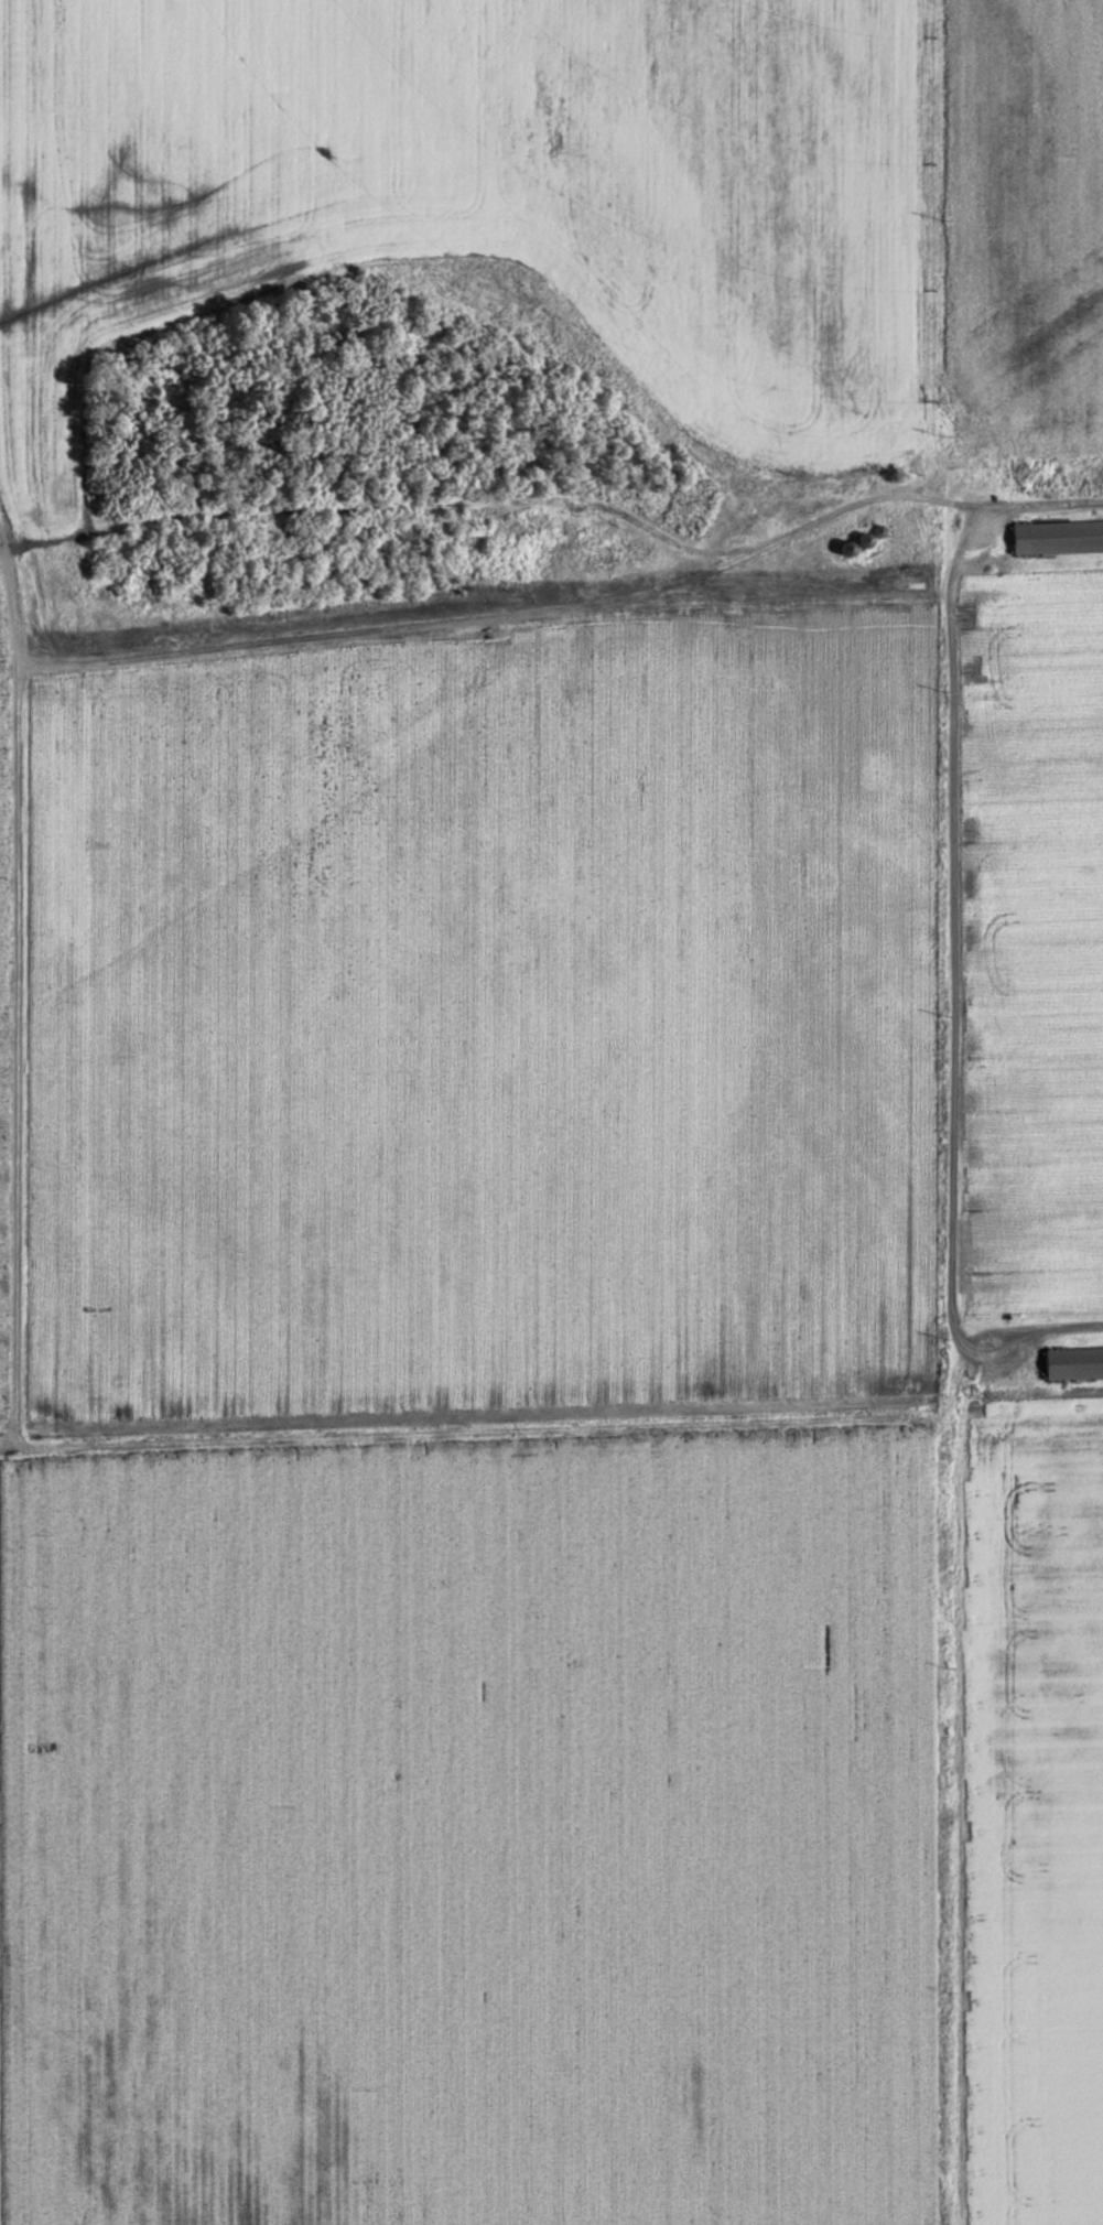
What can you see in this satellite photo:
road: (1058, 499)
road: (1063, 1320)
building: (1073, 1362)

